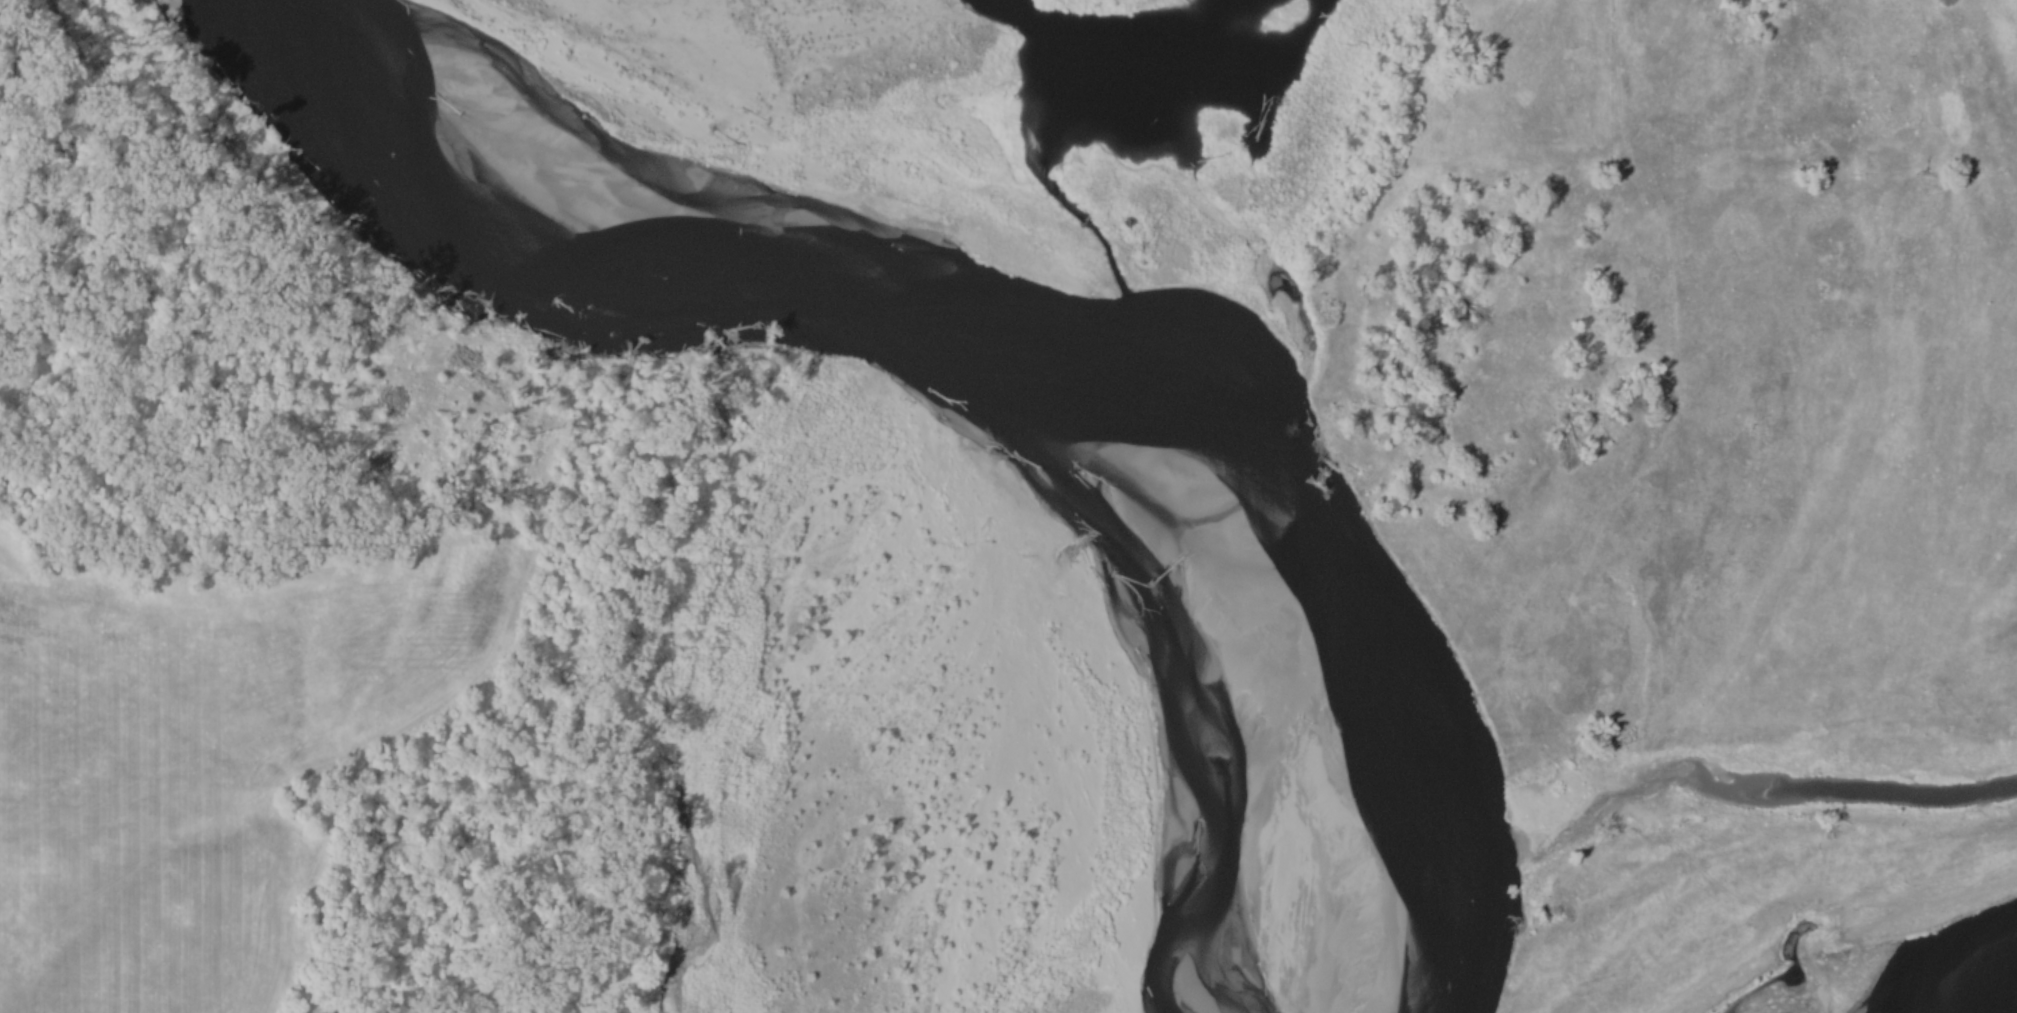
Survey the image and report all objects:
river: (965, 347)

